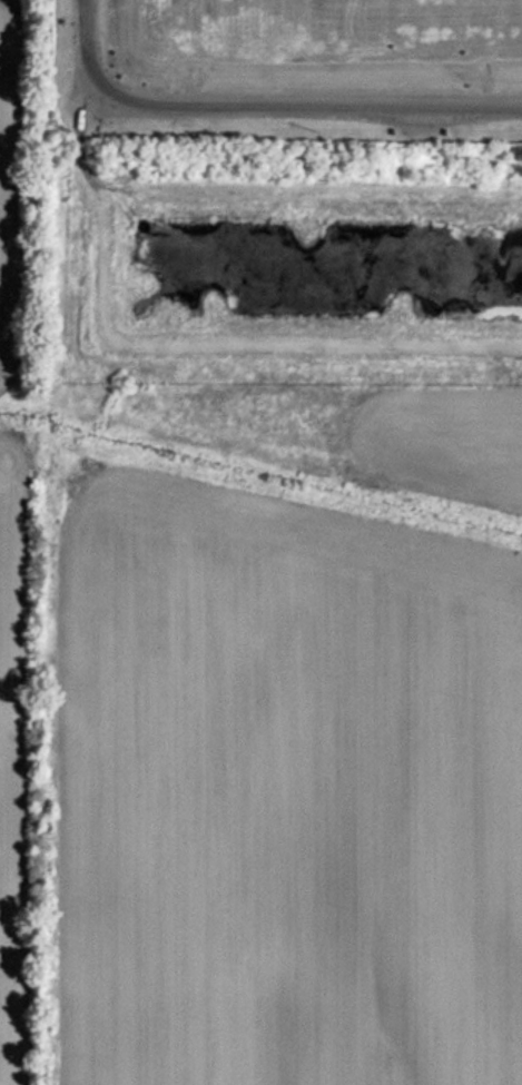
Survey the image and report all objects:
landfill: (293, 53)
road: (260, 109)

